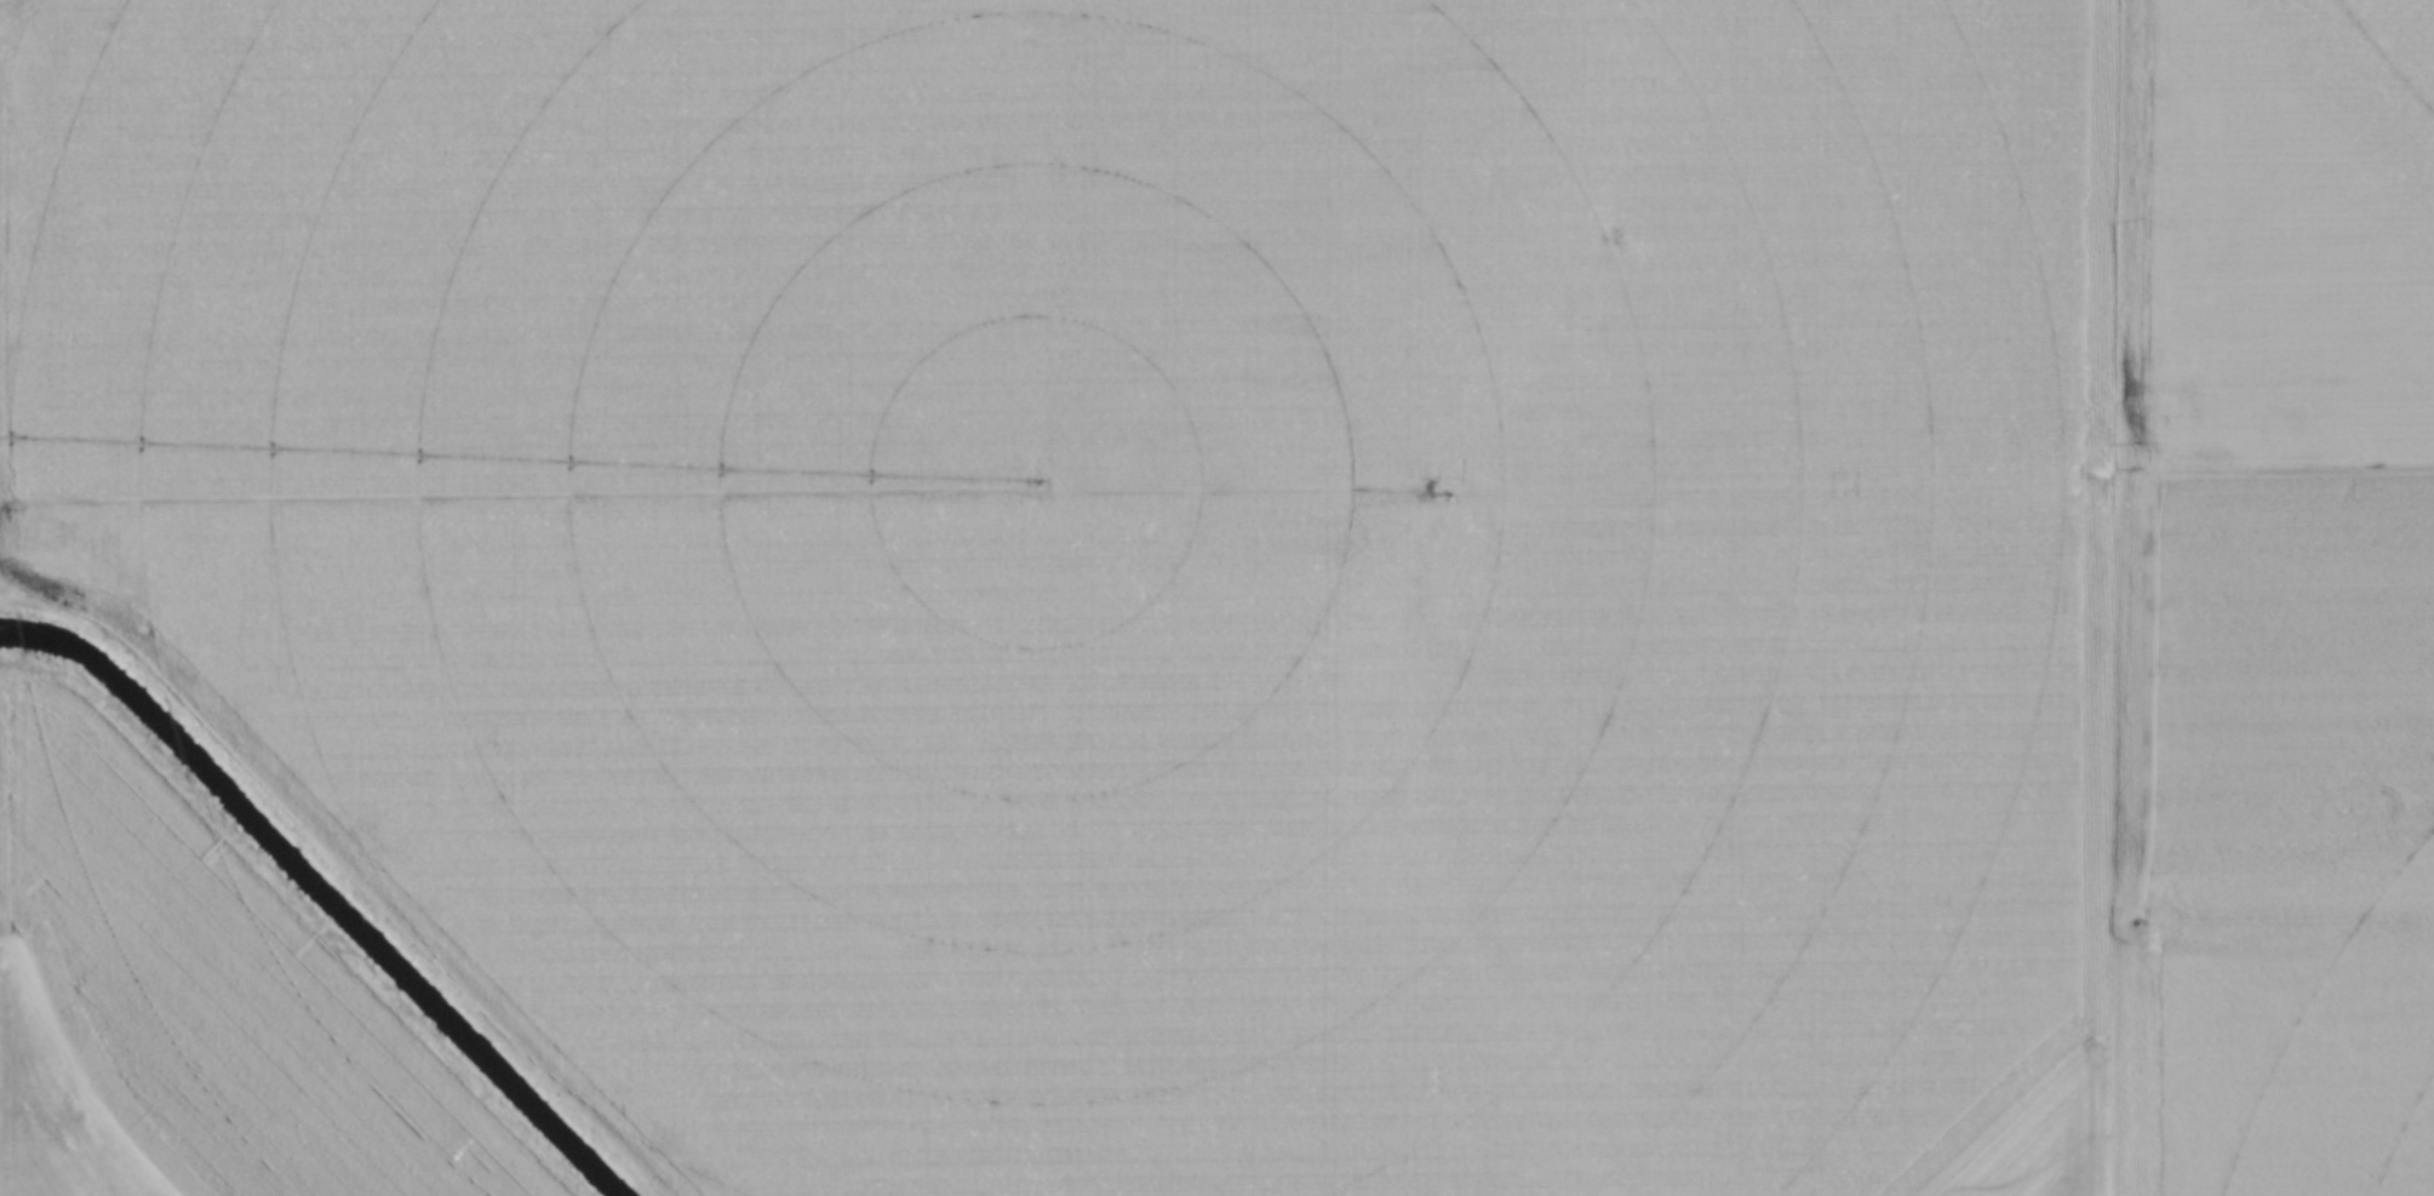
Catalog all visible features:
road: (990, 488)
crop: (1316, 560)
crop: (188, 1011)

